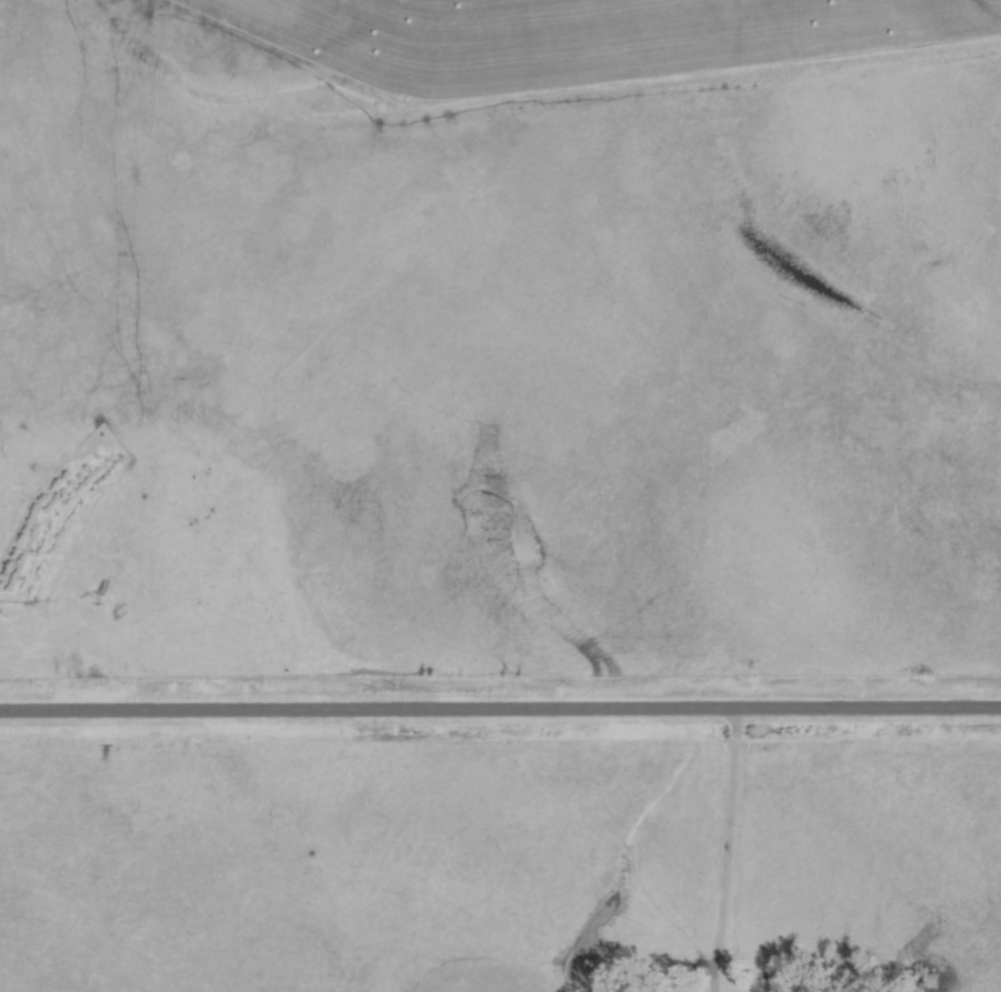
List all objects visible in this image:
road: (500, 715)
road: (727, 853)

